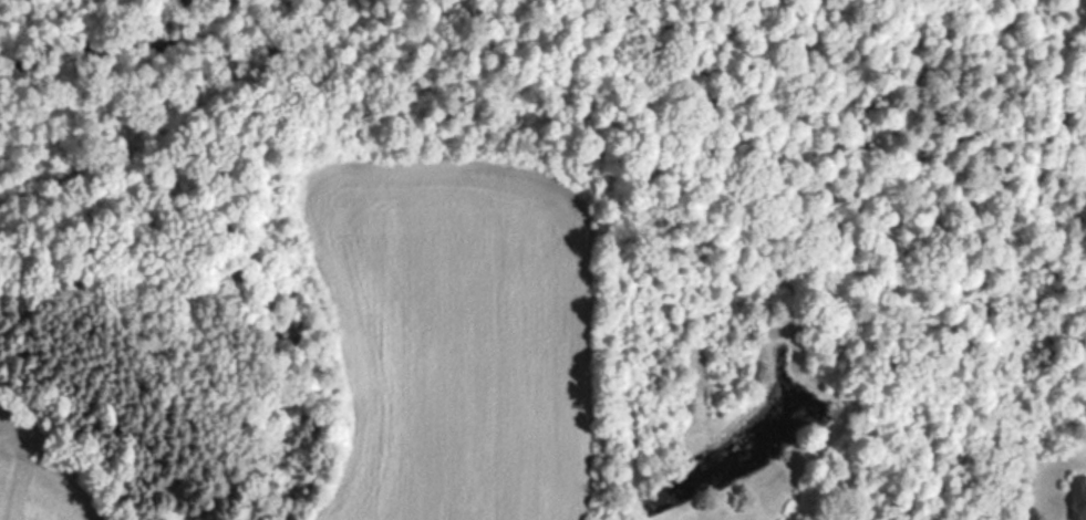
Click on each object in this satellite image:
building: (1077, 497)

